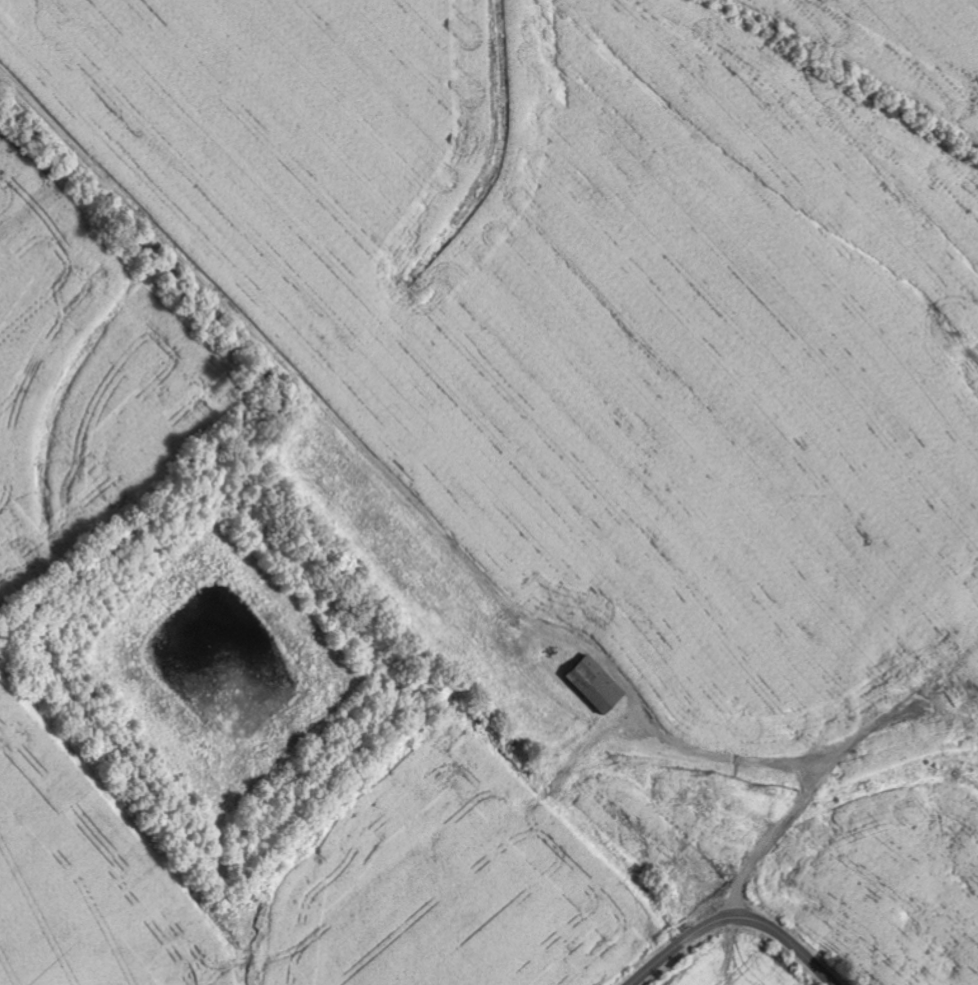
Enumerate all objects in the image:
building: (597, 684)
road: (737, 919)

